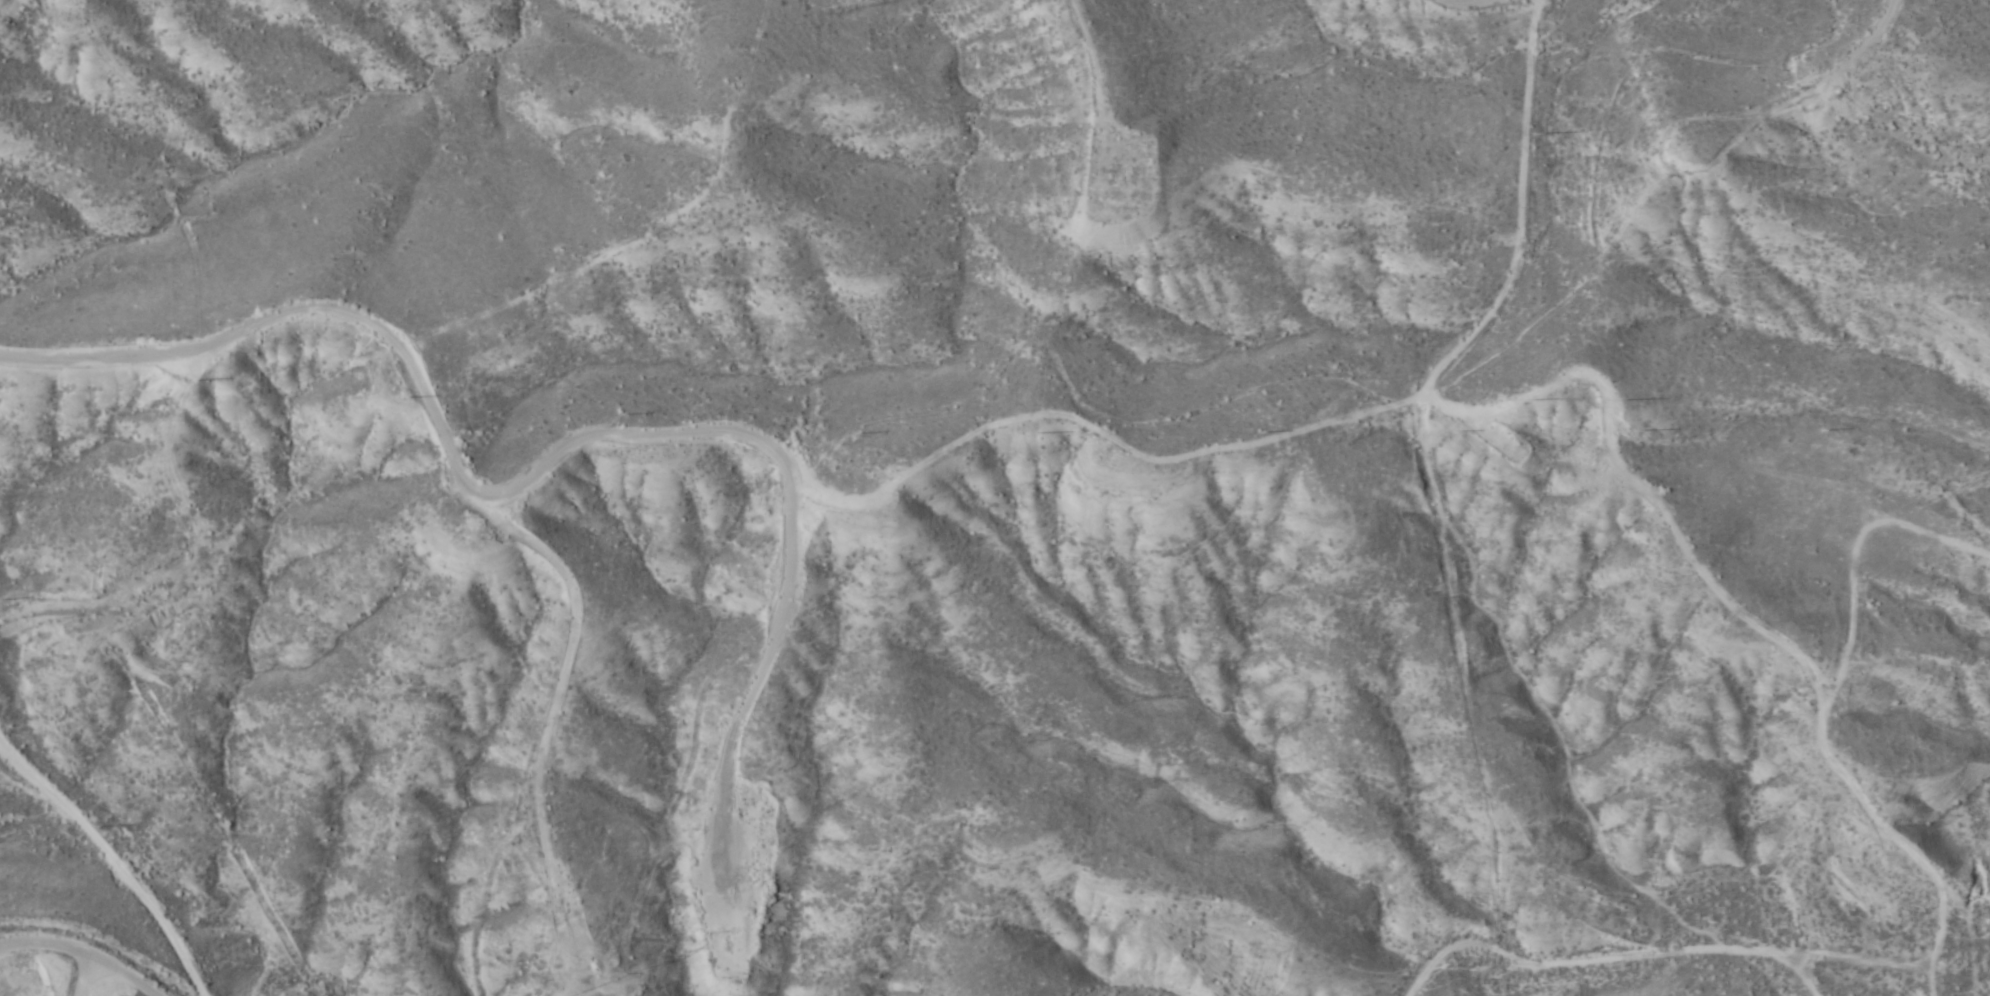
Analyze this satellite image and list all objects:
road: (85, 951)

